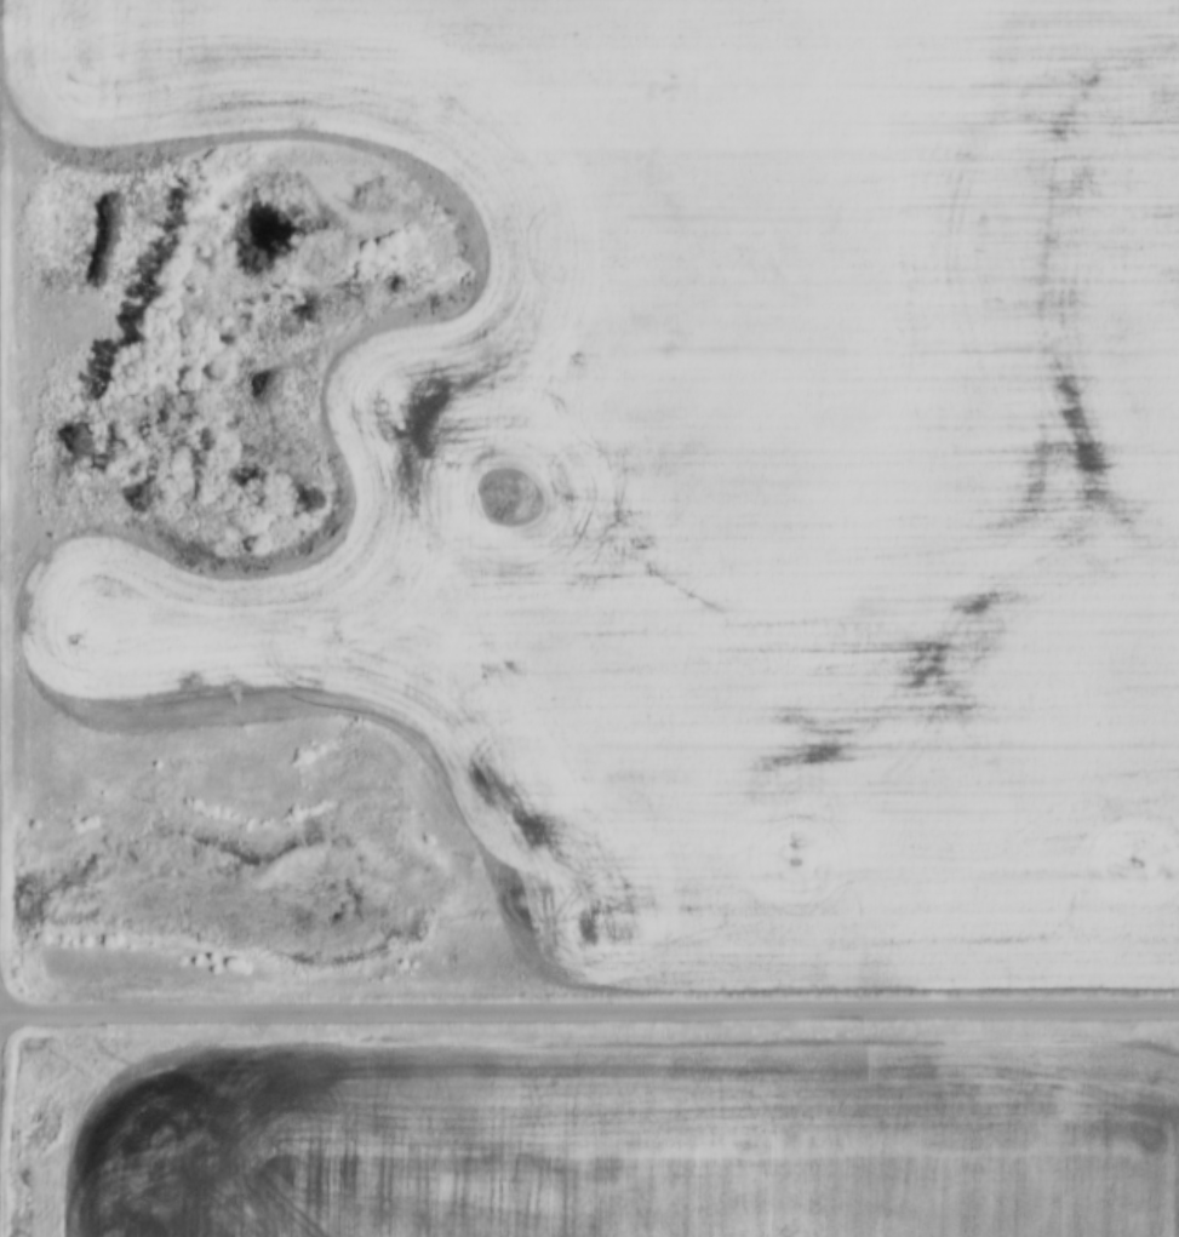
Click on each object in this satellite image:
road: (589, 1010)

